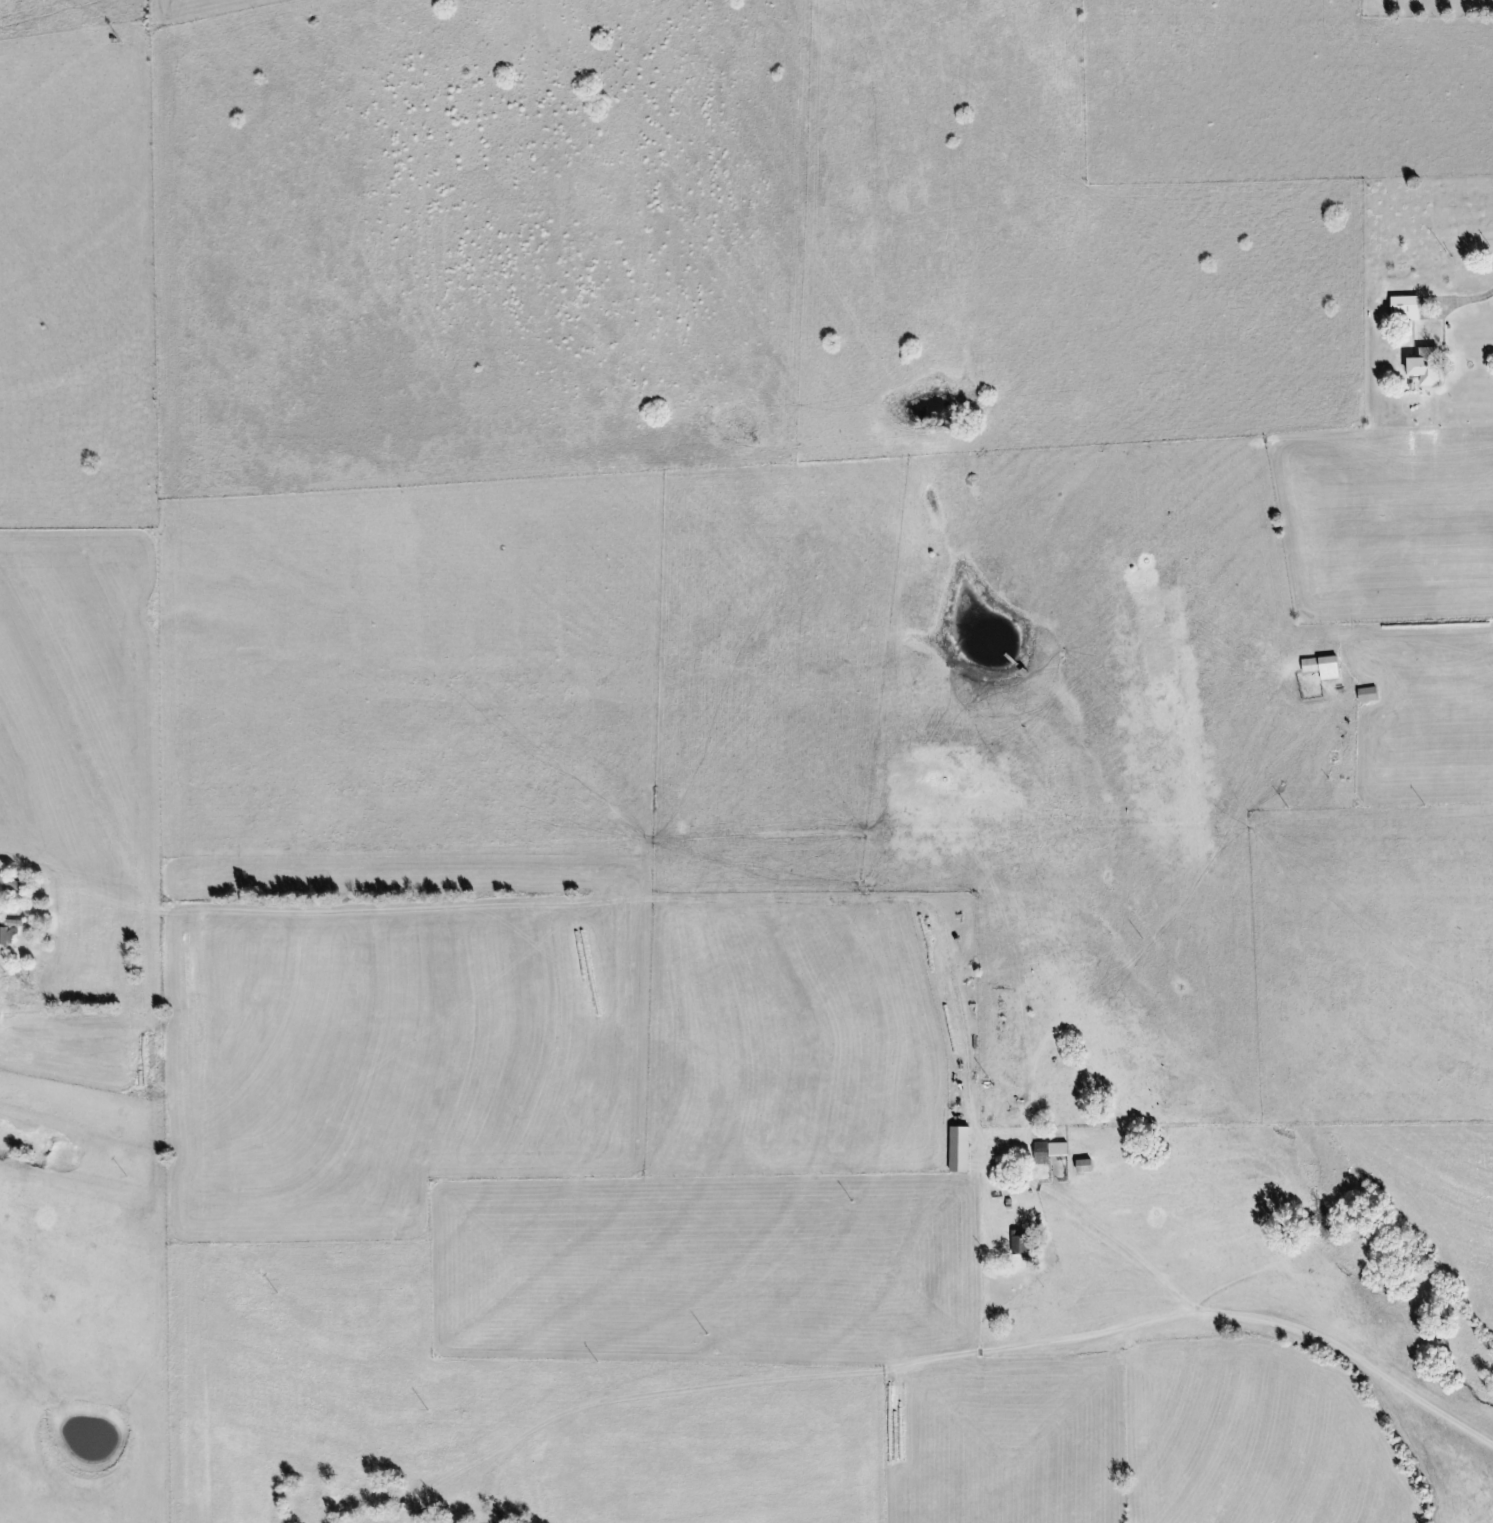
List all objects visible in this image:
road: (1461, 300)
building: (1403, 308)
building: (1424, 365)
road: (1427, 665)
building: (1322, 666)
building: (1366, 694)
building: (12, 881)
building: (6, 931)
building: (958, 1149)
building: (1040, 1153)
road: (1261, 1318)
road: (816, 1373)
building: (373, 1491)

